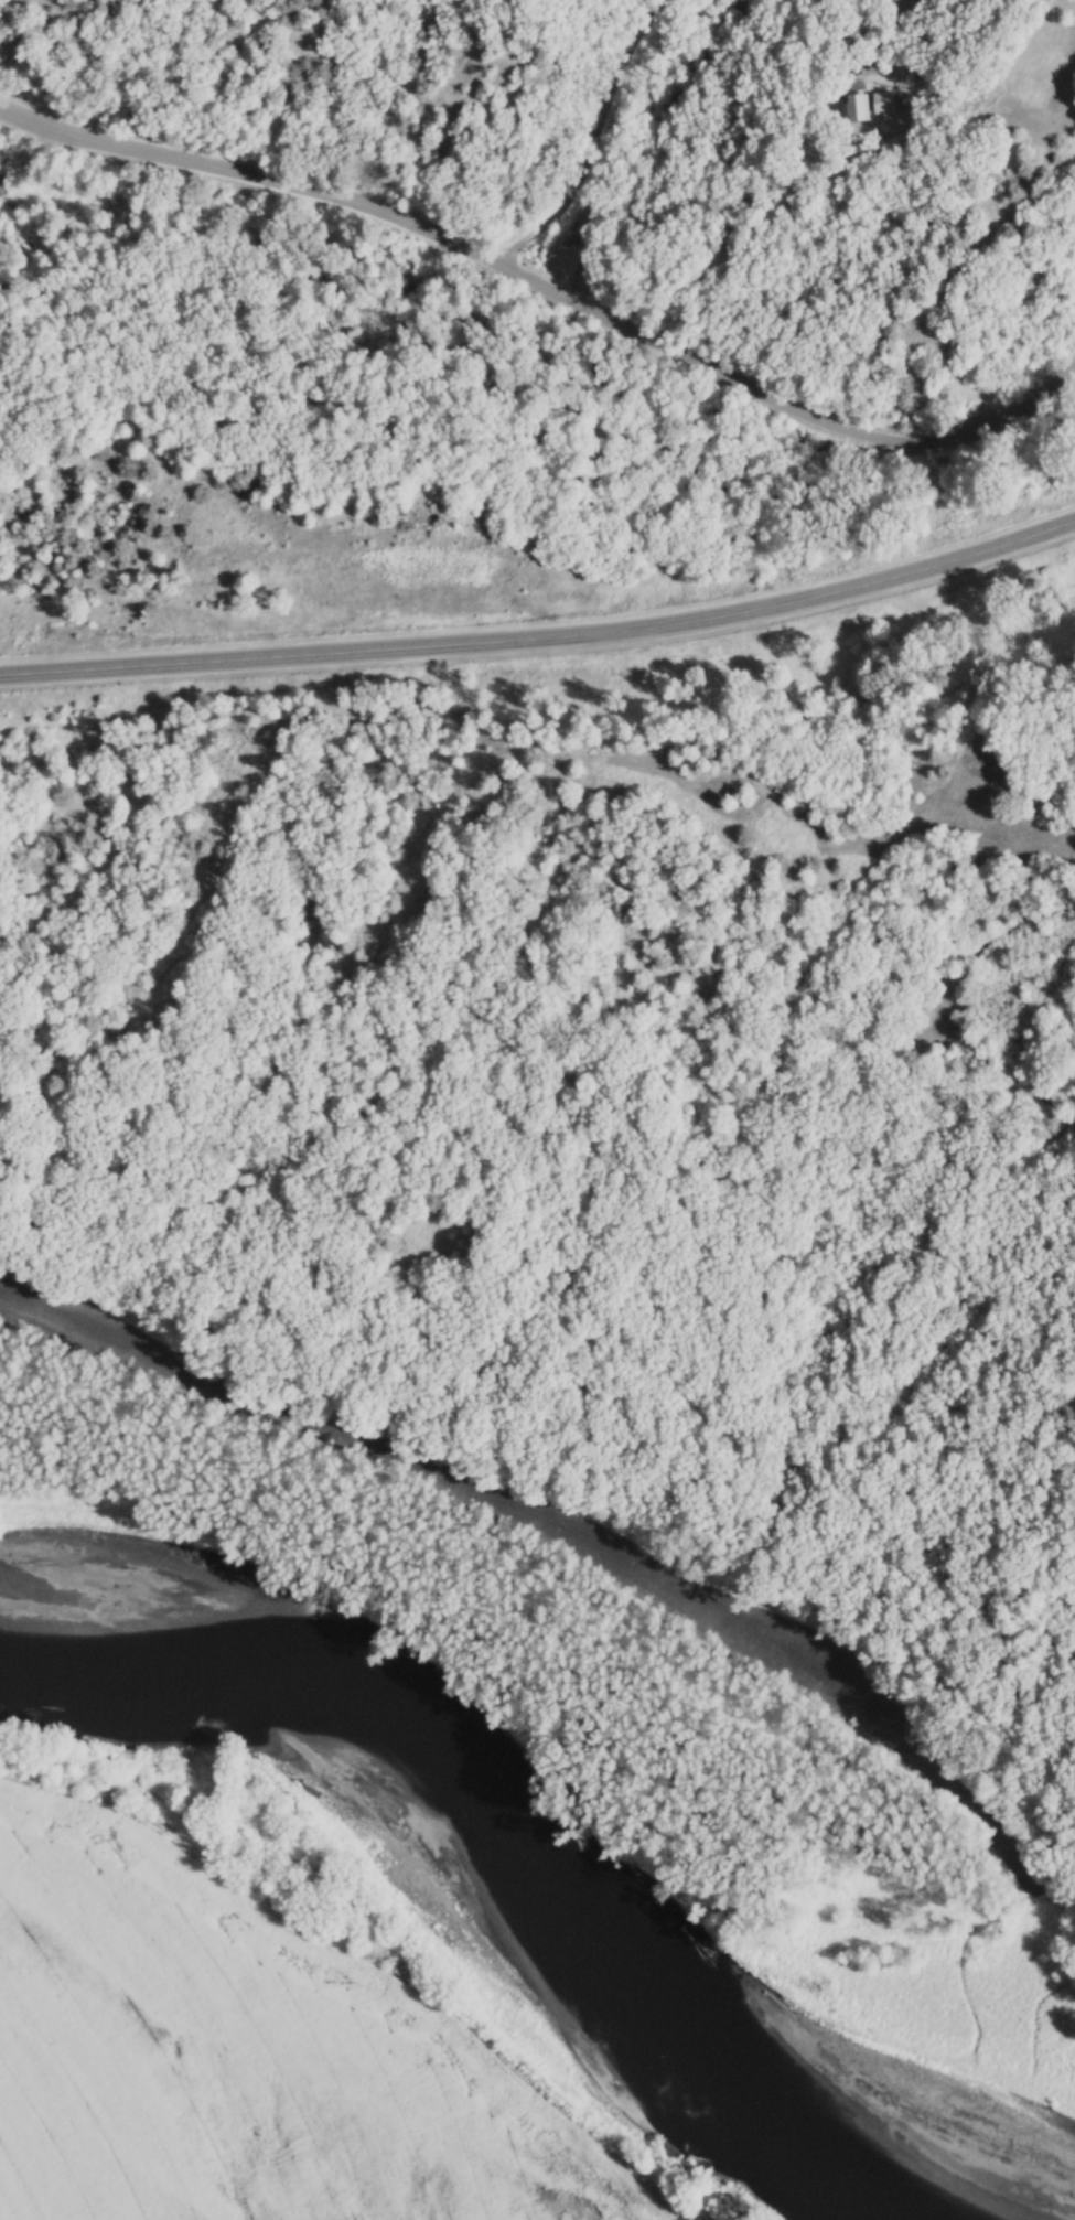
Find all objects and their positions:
building: (856, 107)
road: (590, 137)
road: (255, 172)
road: (786, 399)
road: (544, 639)
river: (505, 1916)

